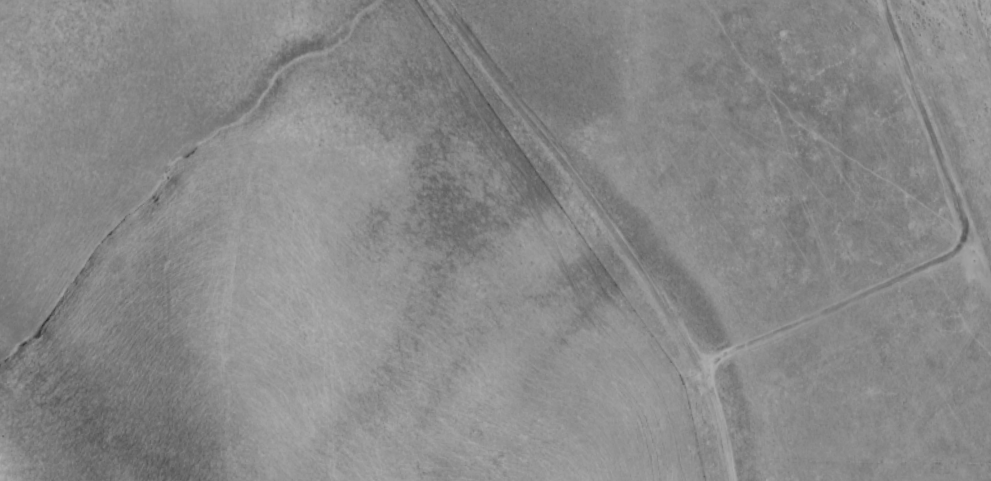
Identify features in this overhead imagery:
road: (603, 227)

